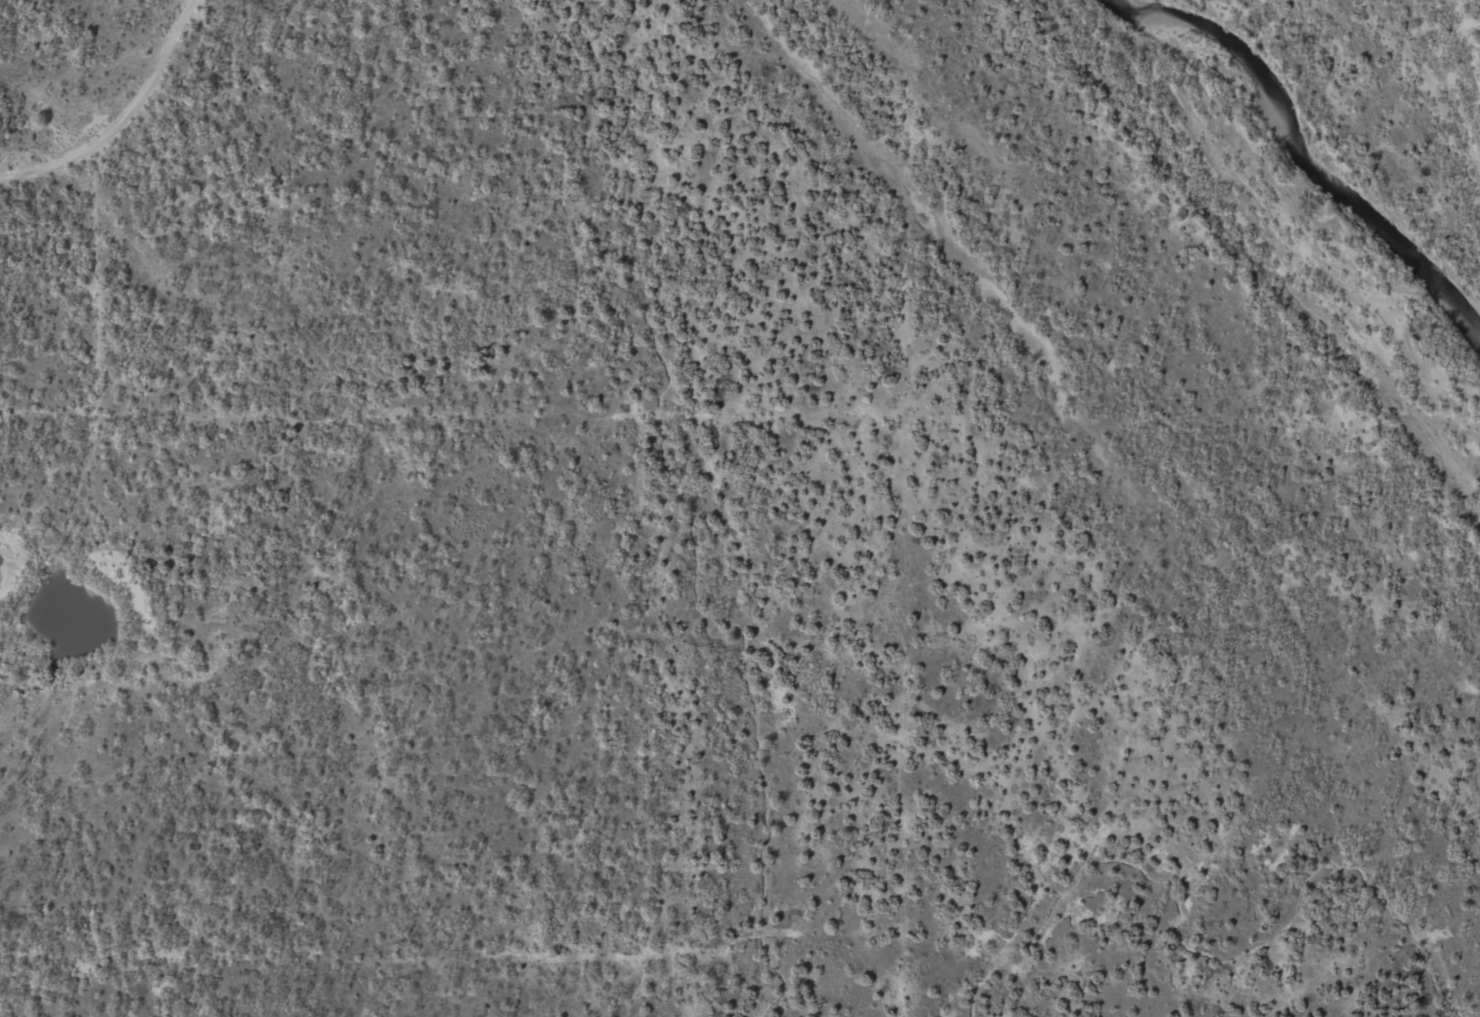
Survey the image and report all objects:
road: (128, 114)
river: (1305, 155)

